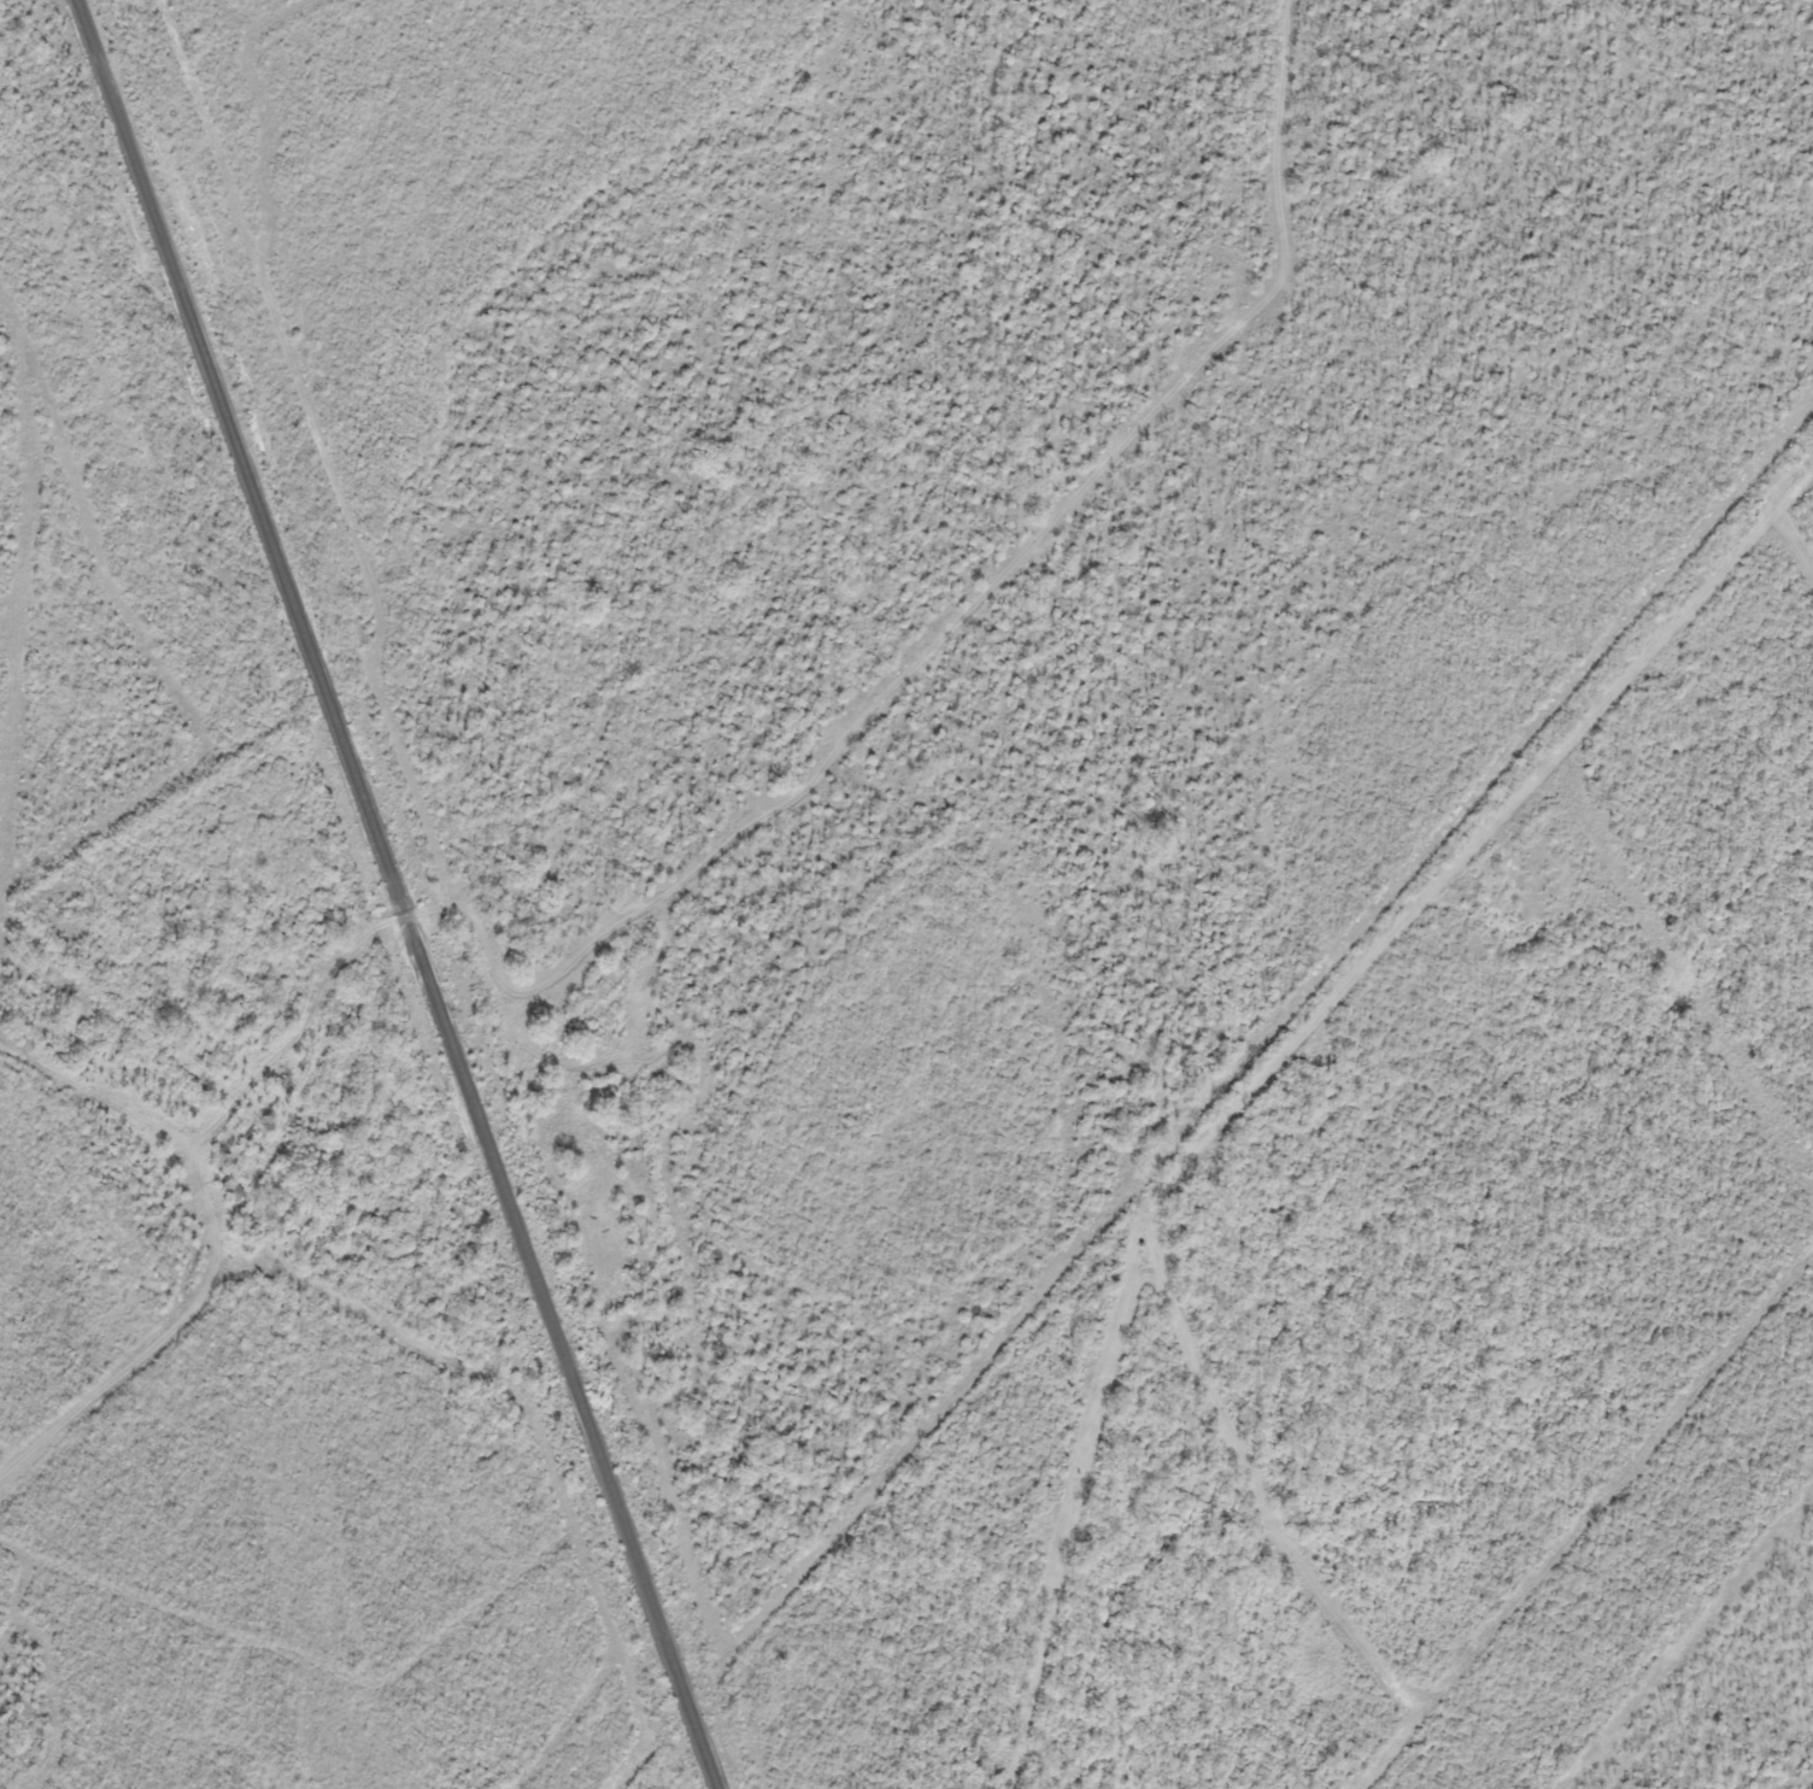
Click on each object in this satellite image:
railway: (395, 894)
building: (230, 1190)
road: (421, 1335)
road: (614, 1783)

